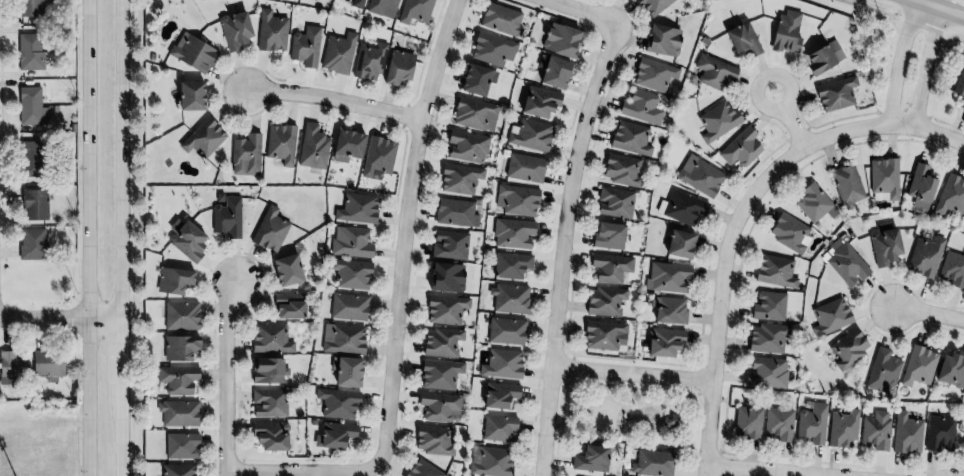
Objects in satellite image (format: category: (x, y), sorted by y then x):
building: (357, 4)
building: (652, 6)
building: (28, 7)
road: (940, 7)
building: (381, 8)
road: (582, 10)
building: (413, 11)
building: (500, 20)
building: (233, 30)
building: (270, 31)
building: (786, 32)
building: (741, 38)
building: (559, 40)
building: (660, 40)
building: (304, 46)
building: (491, 49)
building: (28, 51)
building: (191, 53)
building: (337, 53)
building: (822, 57)
building: (368, 61)
road: (899, 61)
building: (396, 67)
road: (926, 67)
building: (551, 72)
building: (713, 72)
building: (653, 74)
building: (475, 79)
building: (958, 85)
building: (835, 94)
building: (188, 95)
road: (332, 97)
building: (538, 102)
building: (30, 107)
building: (640, 107)
building: (473, 114)
road: (790, 119)
building: (716, 121)
road: (884, 125)
building: (529, 135)
building: (201, 138)
building: (630, 138)
building: (279, 143)
building: (345, 145)
building: (466, 146)
building: (312, 147)
building: (740, 148)
building: (245, 155)
building: (377, 158)
building: (28, 159)
building: (524, 168)
building: (621, 170)
building: (699, 176)
building: (884, 177)
building: (458, 179)
building: (846, 184)
building: (919, 186)
building: (950, 196)
building: (516, 200)
building: (614, 202)
building: (813, 203)
building: (33, 204)
building: (681, 207)
building: (355, 209)
building: (455, 212)
building: (225, 216)
building: (269, 230)
road: (403, 230)
building: (788, 232)
building: (512, 233)
building: (607, 235)
road: (86, 237)
road: (121, 238)
building: (185, 241)
building: (350, 242)
building: (31, 244)
building: (678, 244)
building: (883, 244)
building: (449, 245)
road: (559, 249)
building: (924, 257)
building: (845, 264)
building: (510, 265)
building: (610, 267)
building: (952, 269)
building: (284, 270)
building: (775, 271)
building: (350, 274)
building: (444, 277)
building: (667, 277)
building: (172, 280)
road: (719, 295)
building: (509, 299)
building: (604, 301)
building: (286, 306)
building: (768, 306)
building: (348, 307)
building: (444, 309)
building: (668, 310)
building: (180, 315)
road: (930, 315)
building: (830, 316)
road: (60, 318)
building: (505, 331)
building: (601, 334)
building: (270, 339)
building: (341, 339)
building: (766, 339)
building: (663, 341)
building: (440, 342)
building: (178, 347)
building: (848, 348)
building: (501, 364)
building: (46, 365)
building: (12, 366)
building: (918, 366)
building: (266, 370)
building: (882, 370)
building: (950, 370)
building: (344, 372)
road: (632, 373)
building: (766, 373)
building: (439, 374)
building: (176, 379)
road: (228, 379)
building: (498, 395)
building: (268, 403)
building: (337, 403)
building: (438, 407)
building: (177, 413)
building: (746, 423)
building: (811, 423)
building: (778, 424)
building: (498, 428)
building: (841, 429)
building: (875, 431)
building: (905, 433)
building: (938, 433)
building: (333, 434)
building: (268, 436)
building: (432, 440)
building: (962, 445)
building: (180, 446)
building: (590, 459)
building: (489, 461)
building: (652, 463)
building: (422, 469)
building: (177, 470)
road: (761, 470)
road: (301, 475)

